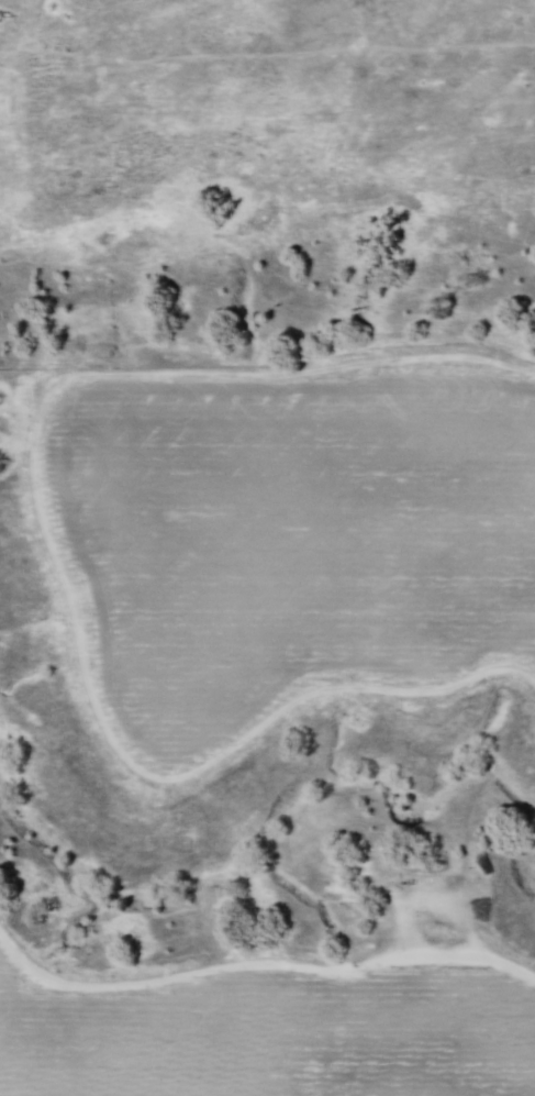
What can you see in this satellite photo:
road: (54, 561)
road: (258, 965)

